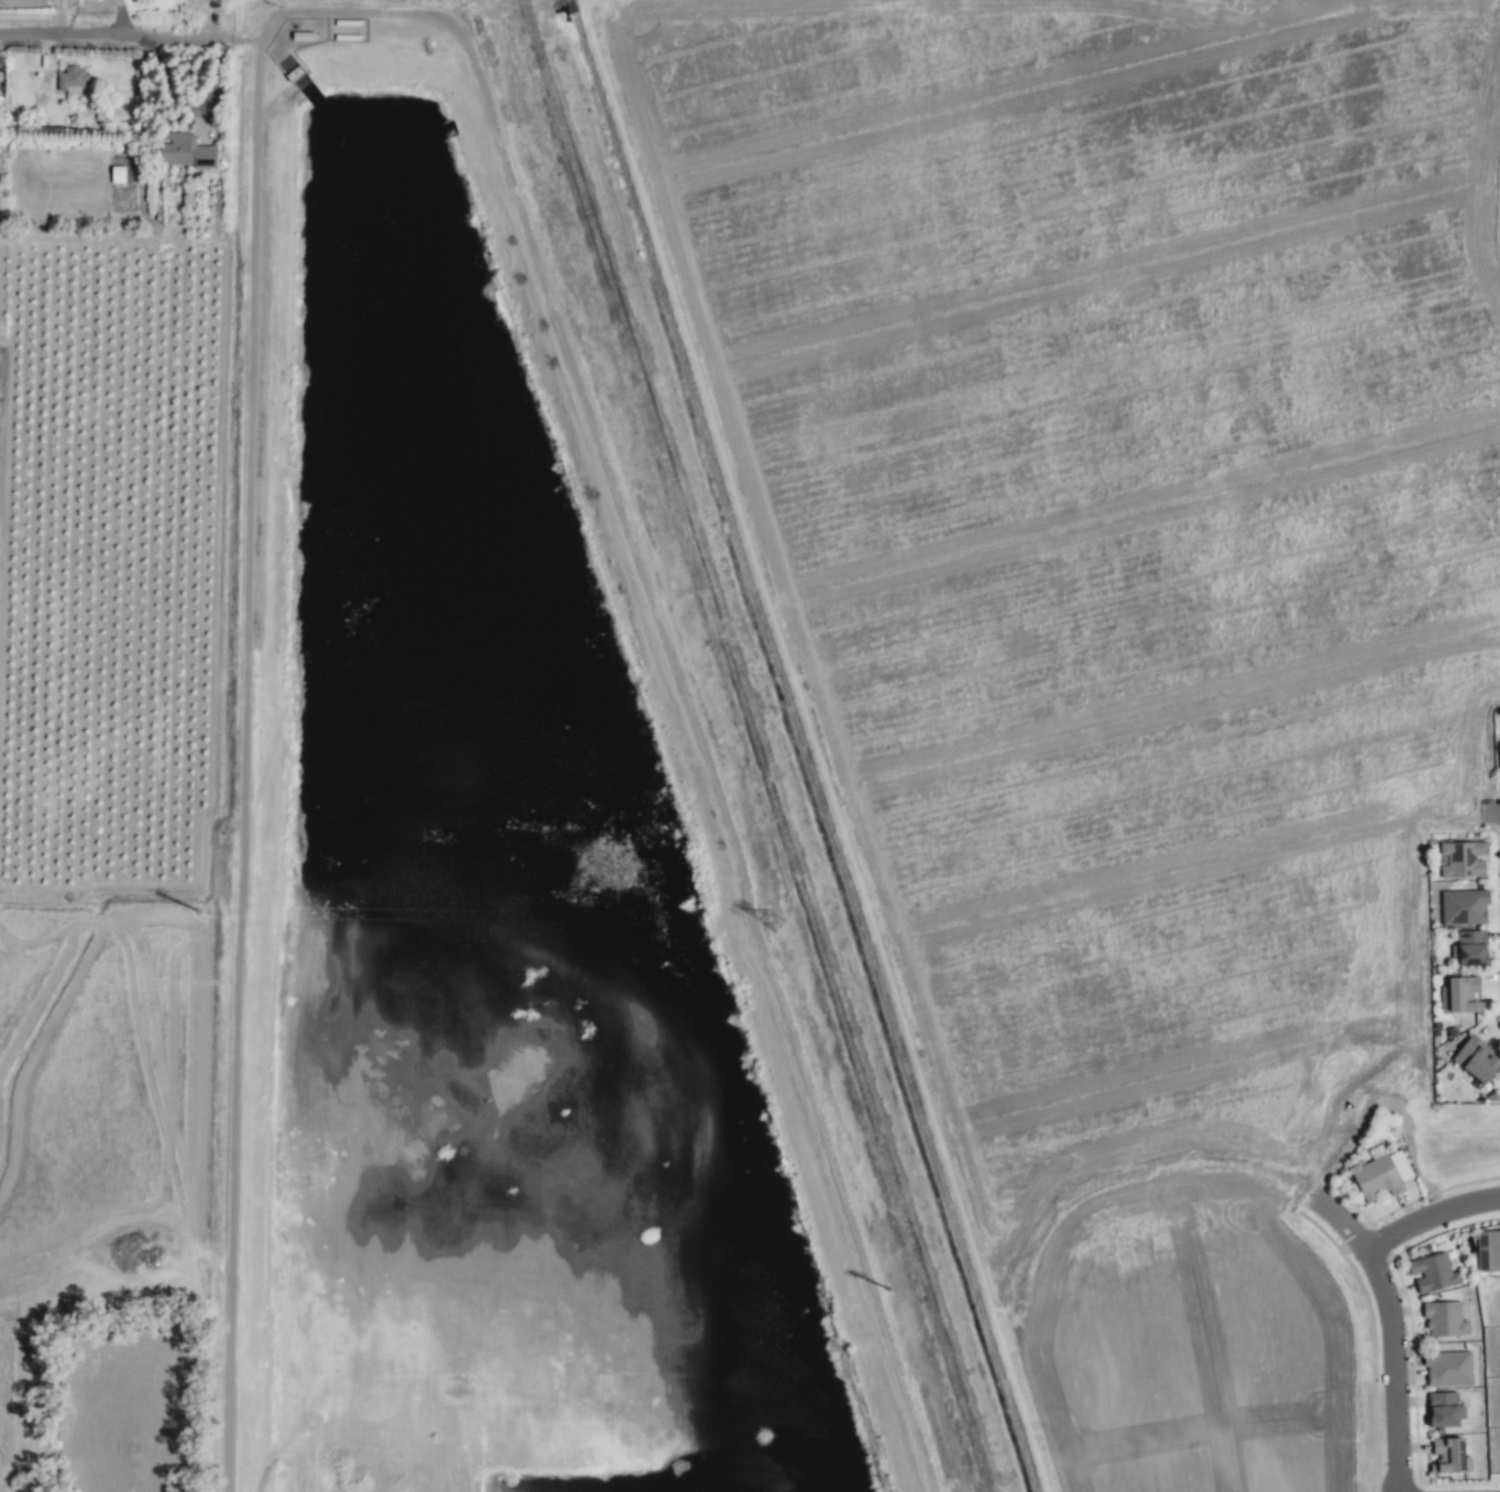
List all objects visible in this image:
road: (61, 3)
road: (62, 21)
road: (107, 35)
dam: (284, 81)
building: (70, 84)
building: (182, 152)
building: (1499, 744)
railway: (754, 746)
road: (1490, 812)
building: (1461, 860)
building: (1462, 907)
power tower: (208, 912)
power tower: (772, 924)
building: (1469, 949)
building: (1460, 995)
building: (1474, 1060)
building: (1380, 1175)
road: (1430, 1218)
building: (1488, 1251)
building: (1431, 1273)
power tower: (889, 1299)
building: (1443, 1319)
road: (1392, 1331)
building: (1447, 1369)
building: (1442, 1410)
building: (1448, 1457)

